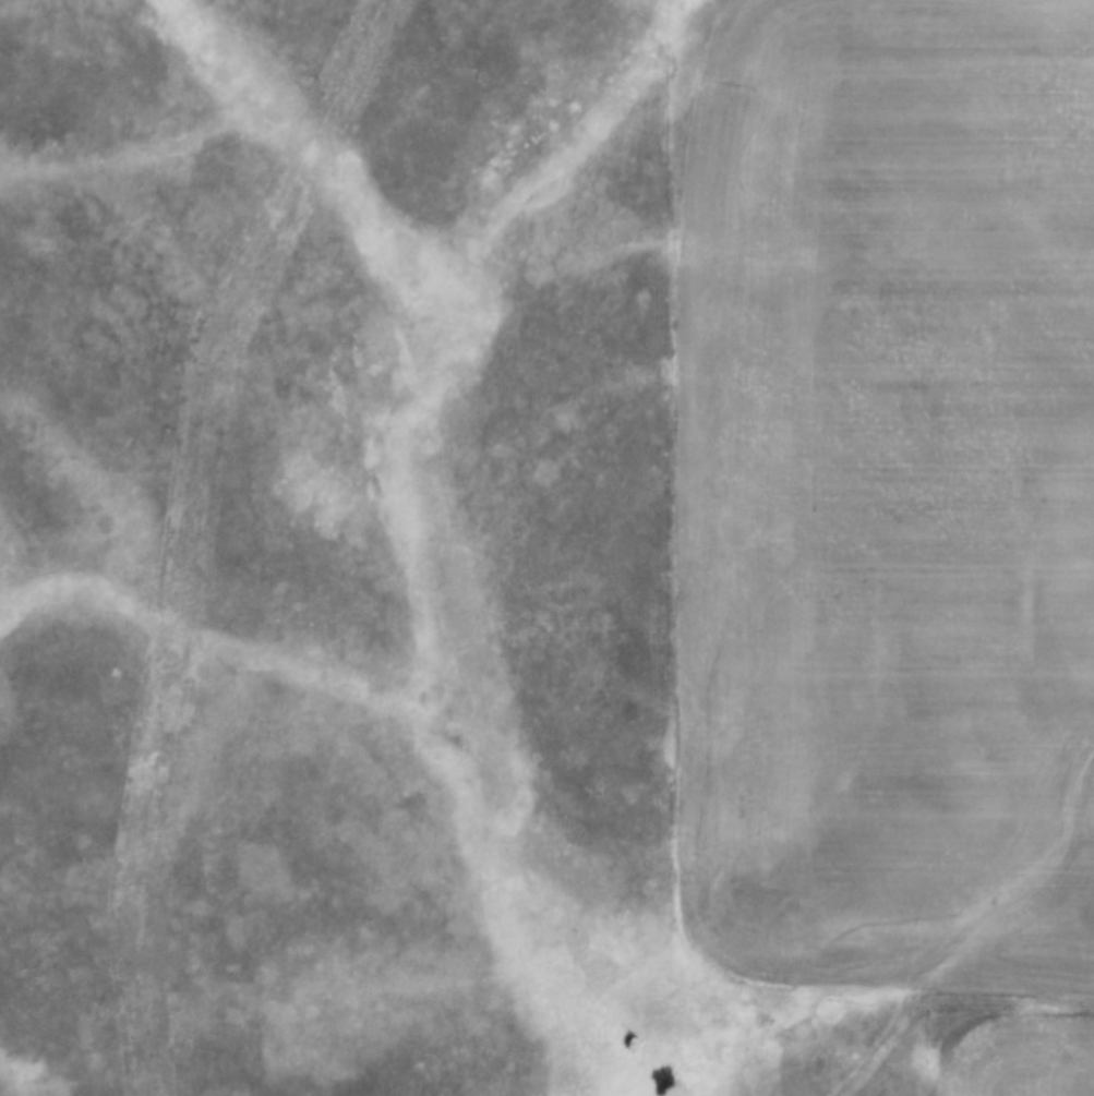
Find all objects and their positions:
road: (943, 996)

